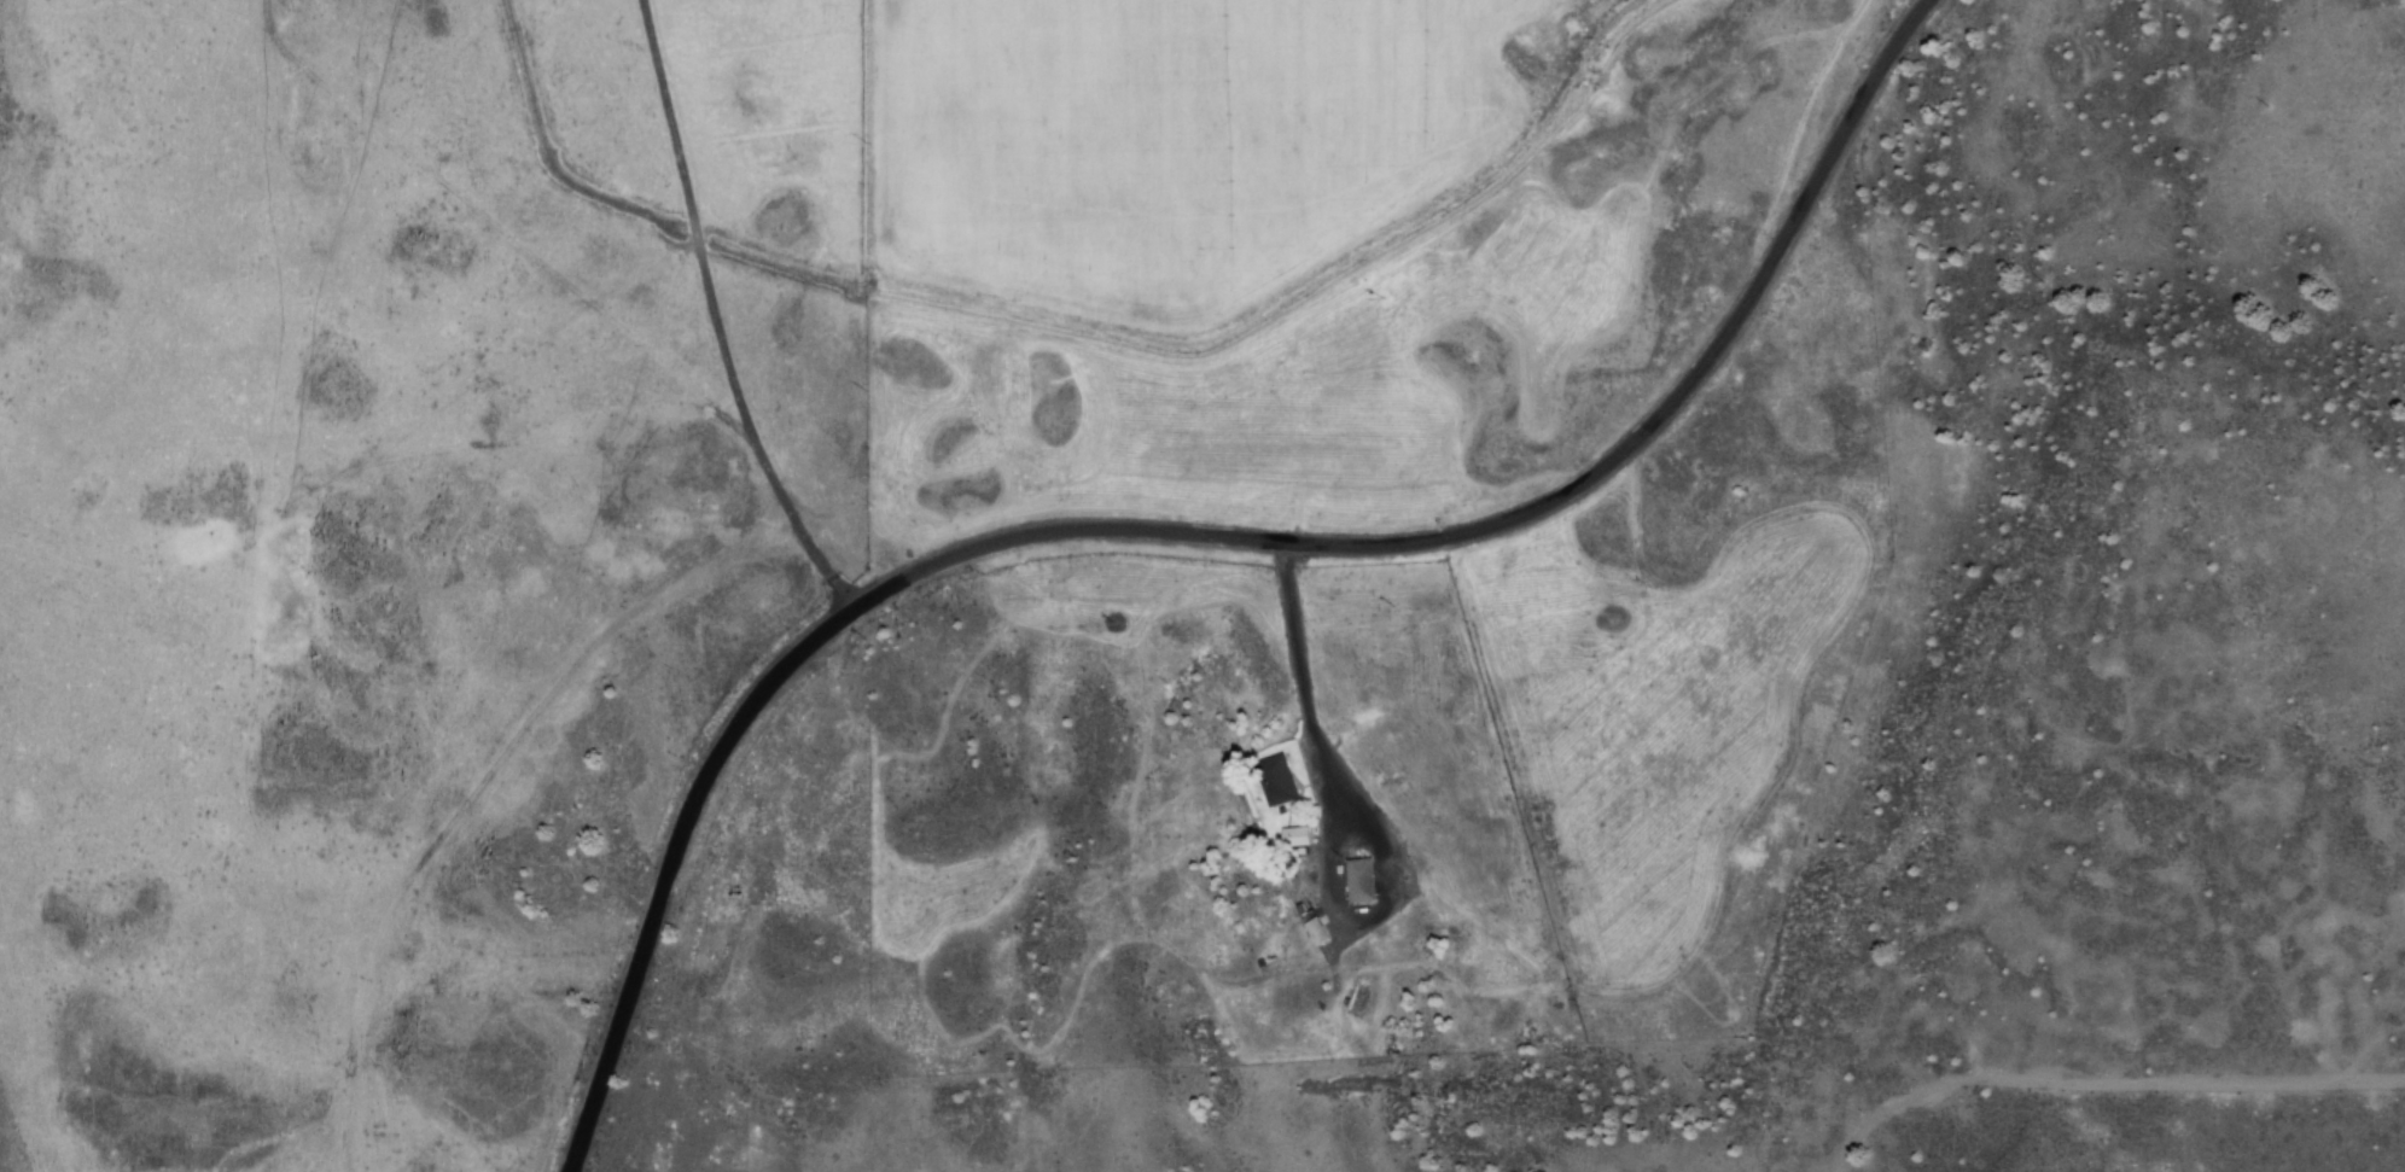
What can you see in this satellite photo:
road: (718, 317)
road: (1199, 538)
building: (1274, 781)
building: (1294, 838)
building: (1359, 881)
building: (1315, 932)

